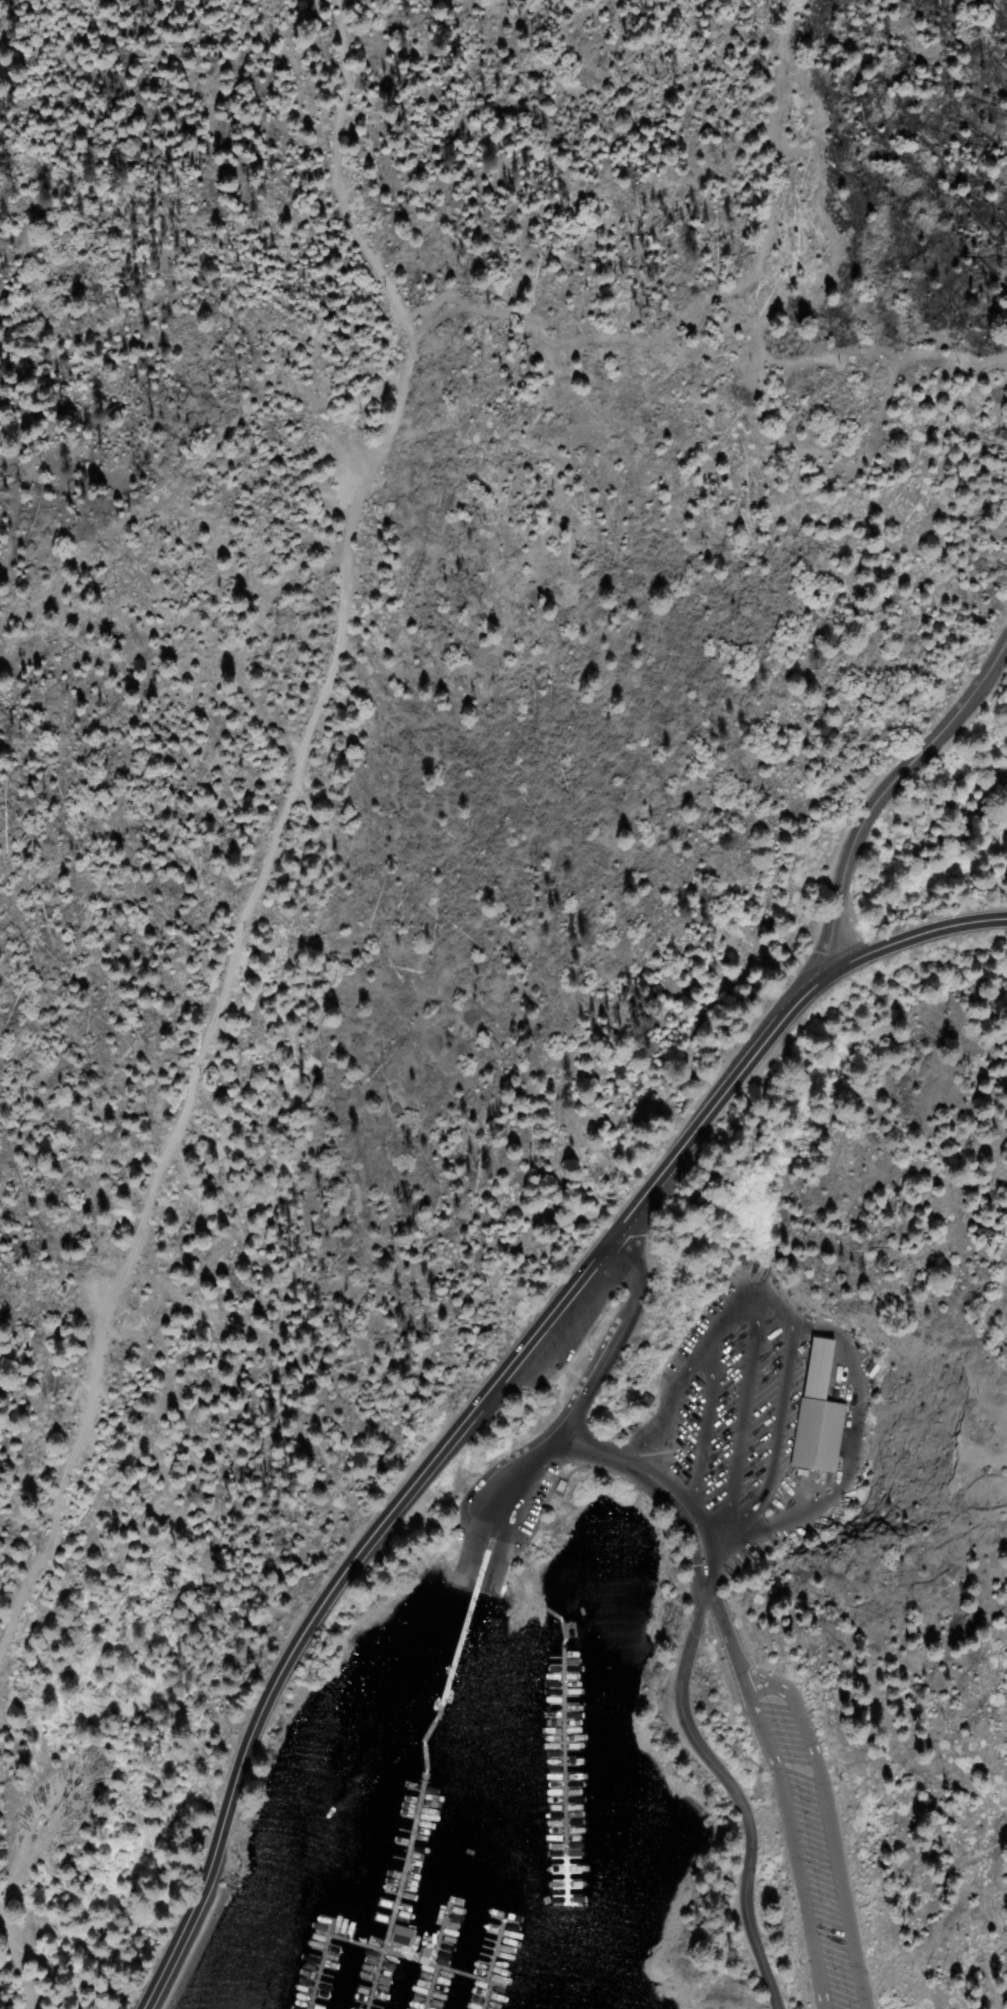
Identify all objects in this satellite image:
road: (886, 793)
road: (270, 846)
road: (912, 936)
road: (782, 1314)
building: (643, 1400)
parking lot: (725, 1404)
building: (816, 1415)
road: (427, 1461)
building: (558, 1485)
road: (503, 1532)
road: (493, 1543)
road: (702, 1586)
road: (719, 1627)
road: (749, 1674)
pier: (415, 1773)
pier: (549, 1804)
parking lot: (812, 1855)
building: (387, 1943)
pier: (423, 1943)
pier: (480, 1955)
pier: (361, 1957)
pier: (417, 1990)
pier: (471, 1997)

